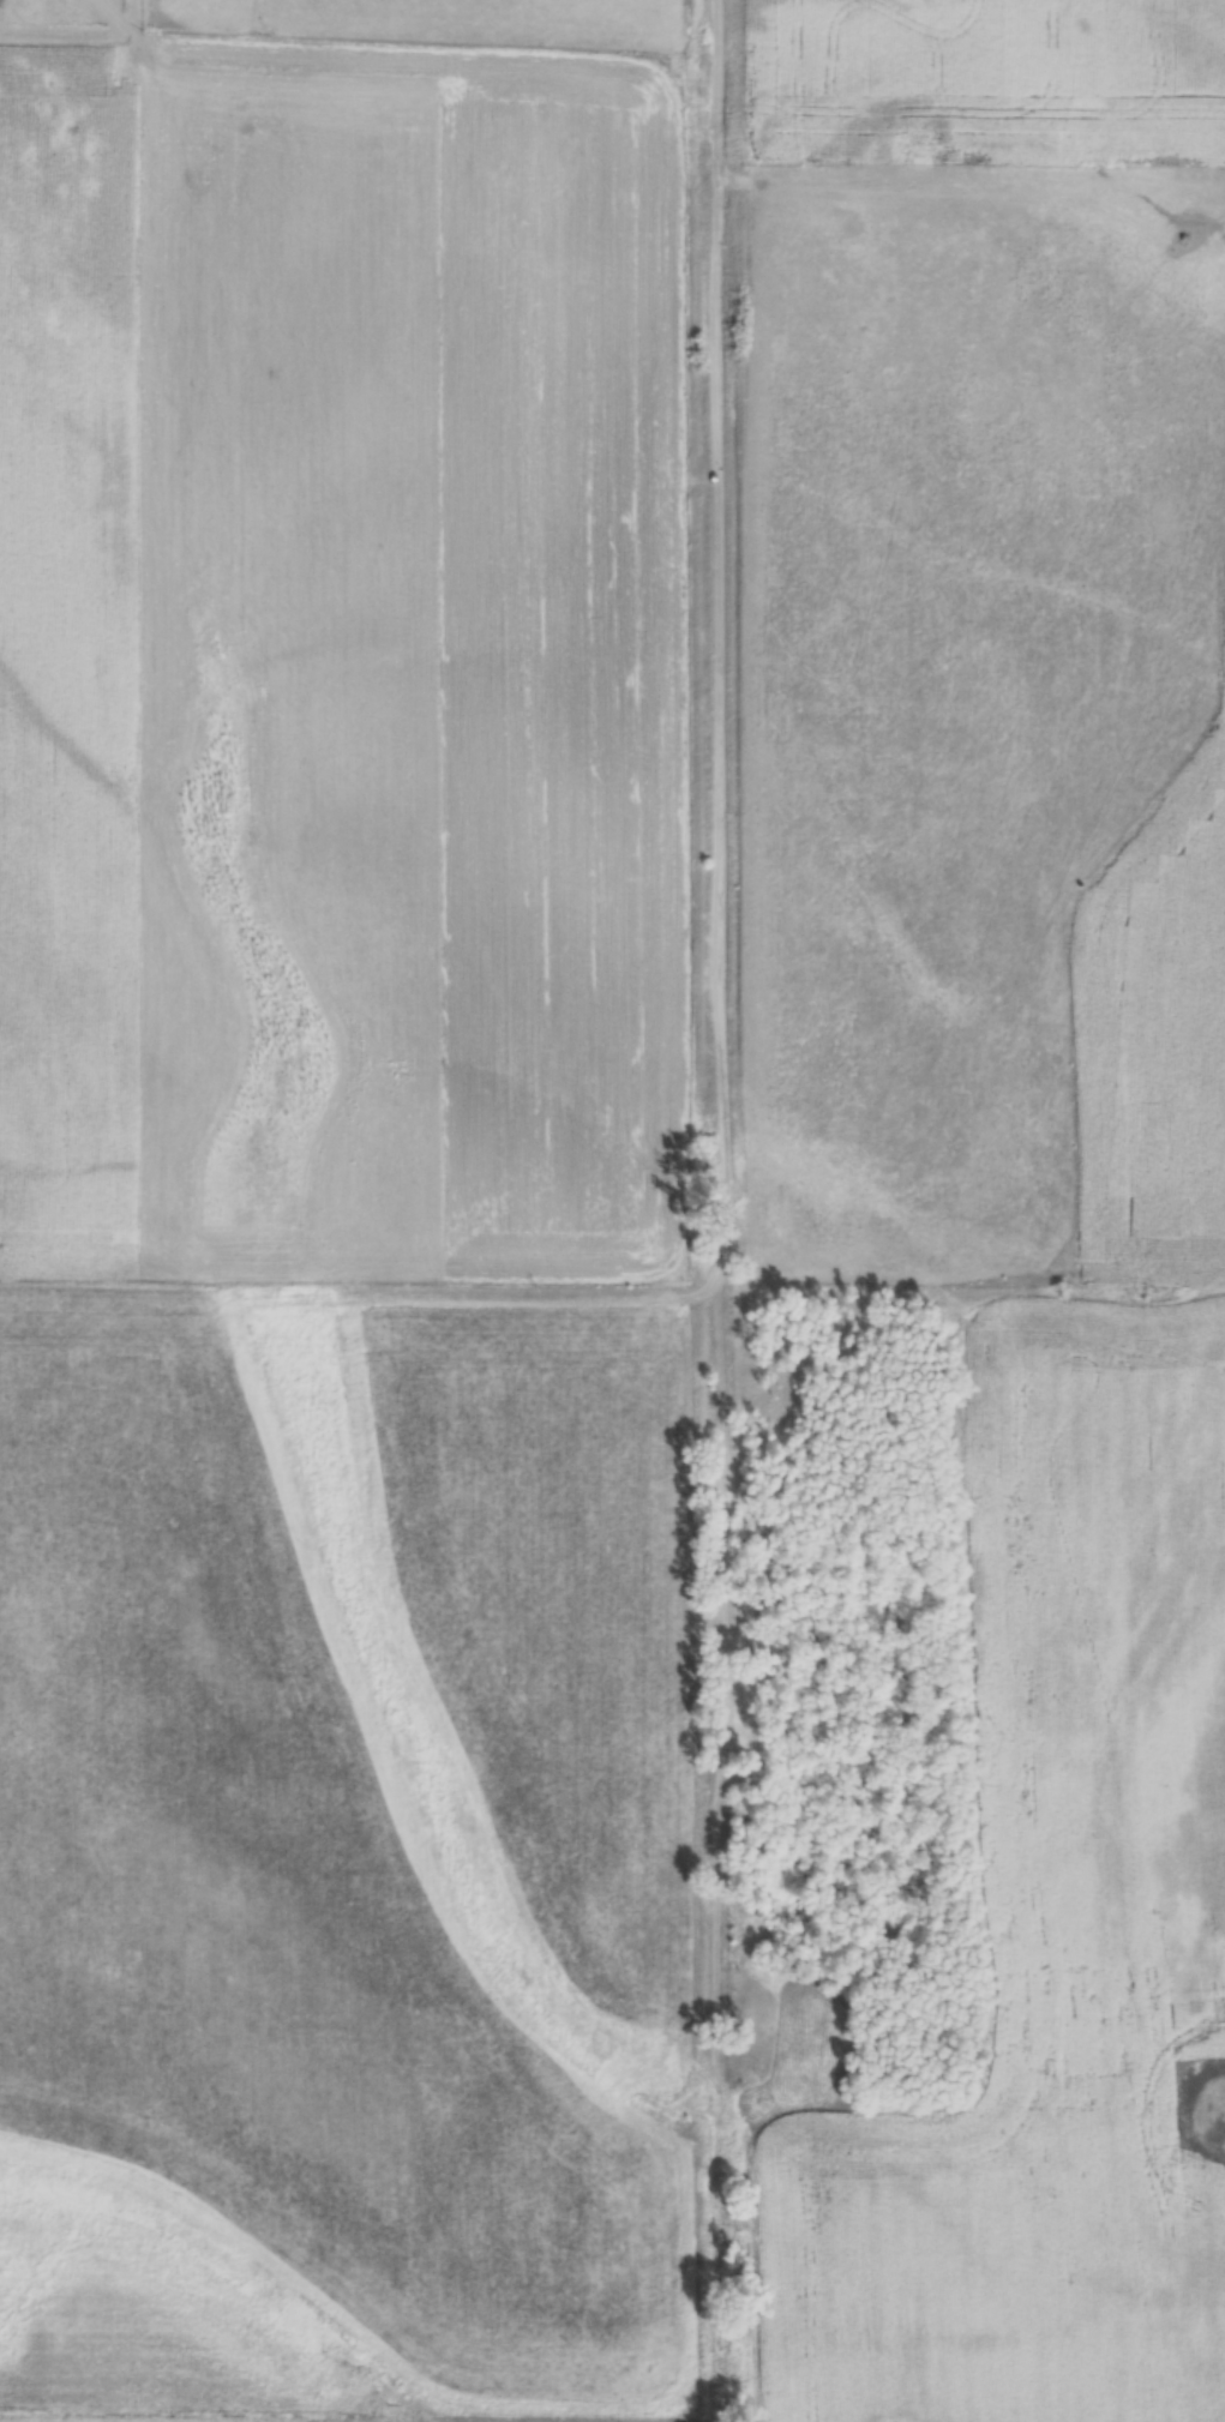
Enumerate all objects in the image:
road: (716, 1210)

